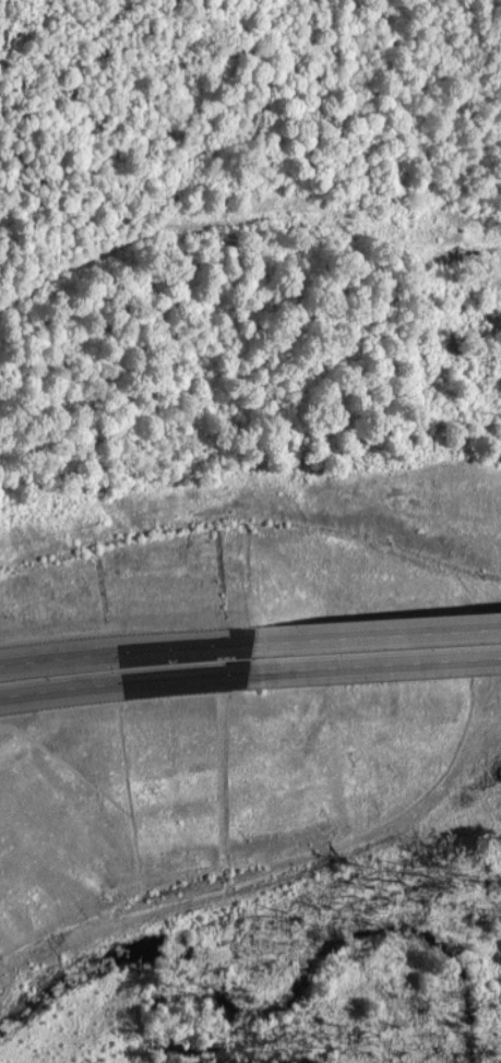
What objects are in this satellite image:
road: (355, 637)
road: (104, 654)
road: (353, 667)
road: (102, 683)
road: (40, 967)

